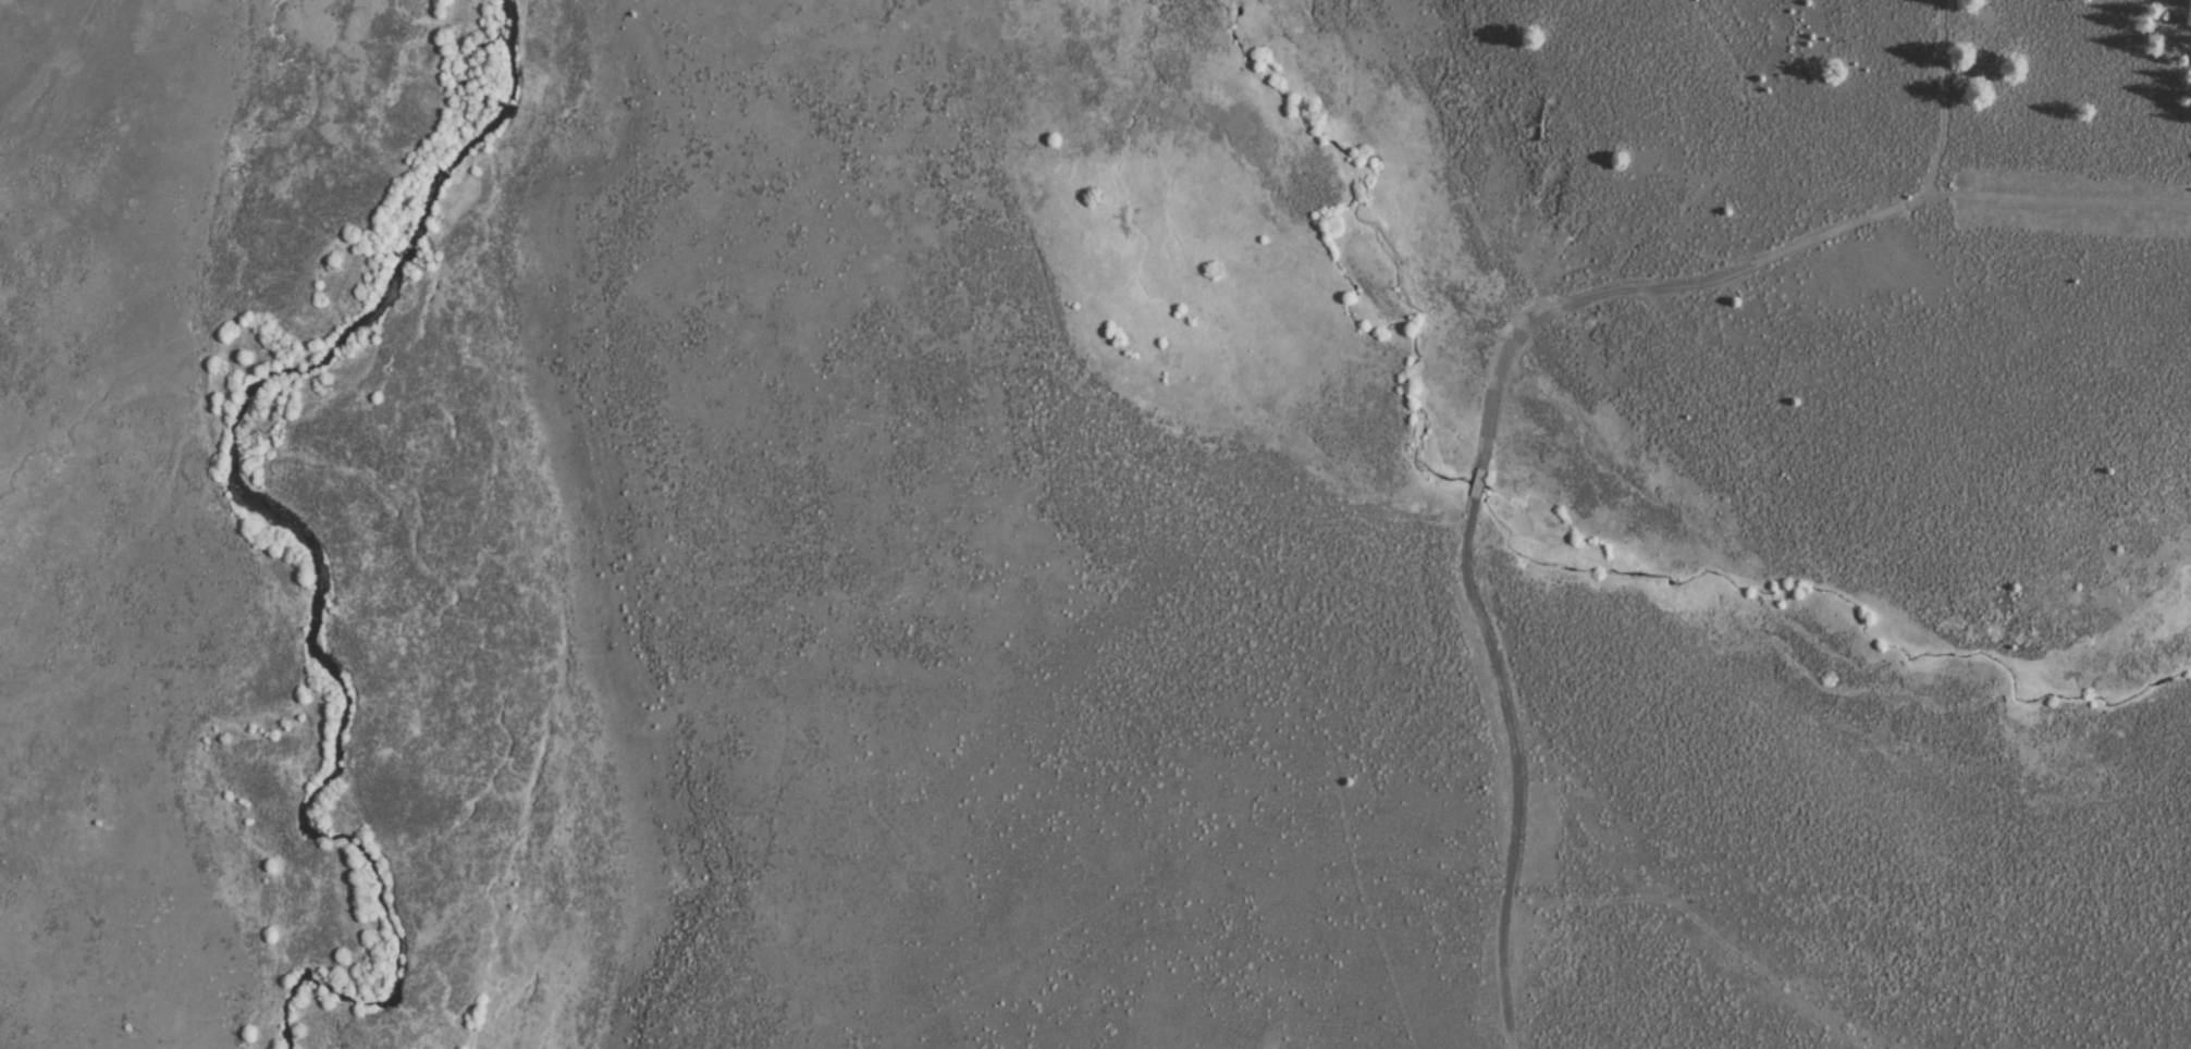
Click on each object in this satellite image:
road: (1935, 98)
road: (1945, 193)
road: (1542, 316)
road: (1472, 485)
road: (1498, 699)
road: (1497, 976)

